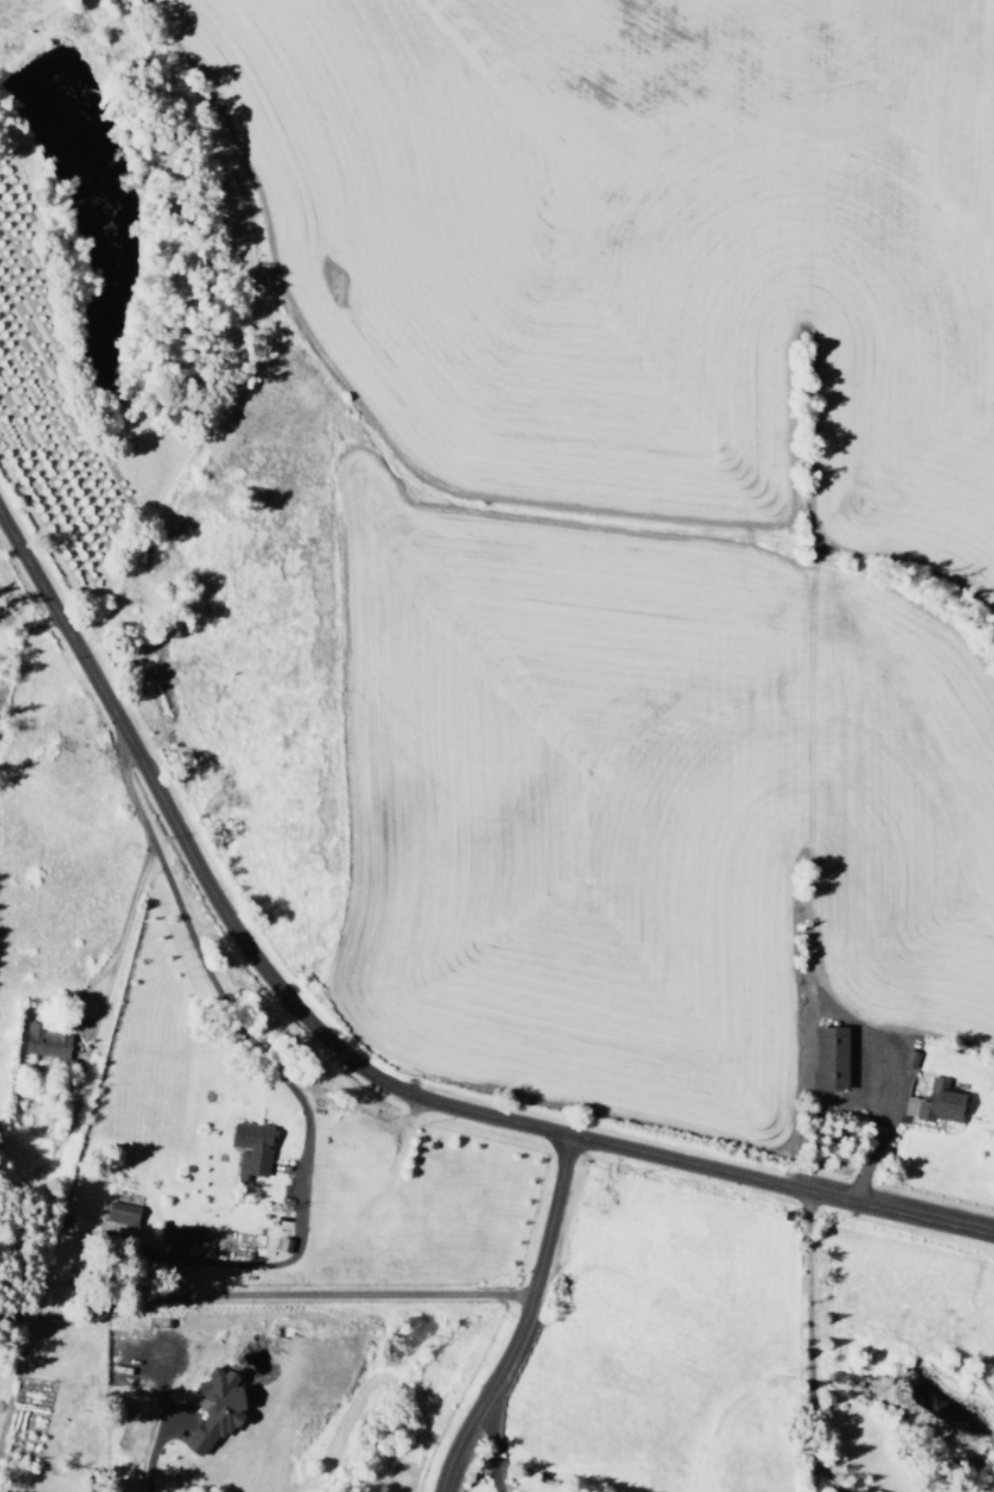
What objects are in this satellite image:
building: (43, 1040)
building: (829, 1056)
building: (908, 1058)
road: (358, 1066)
building: (939, 1102)
building: (250, 1147)
building: (120, 1210)
building: (179, 1236)
road: (522, 1321)
building: (213, 1408)

